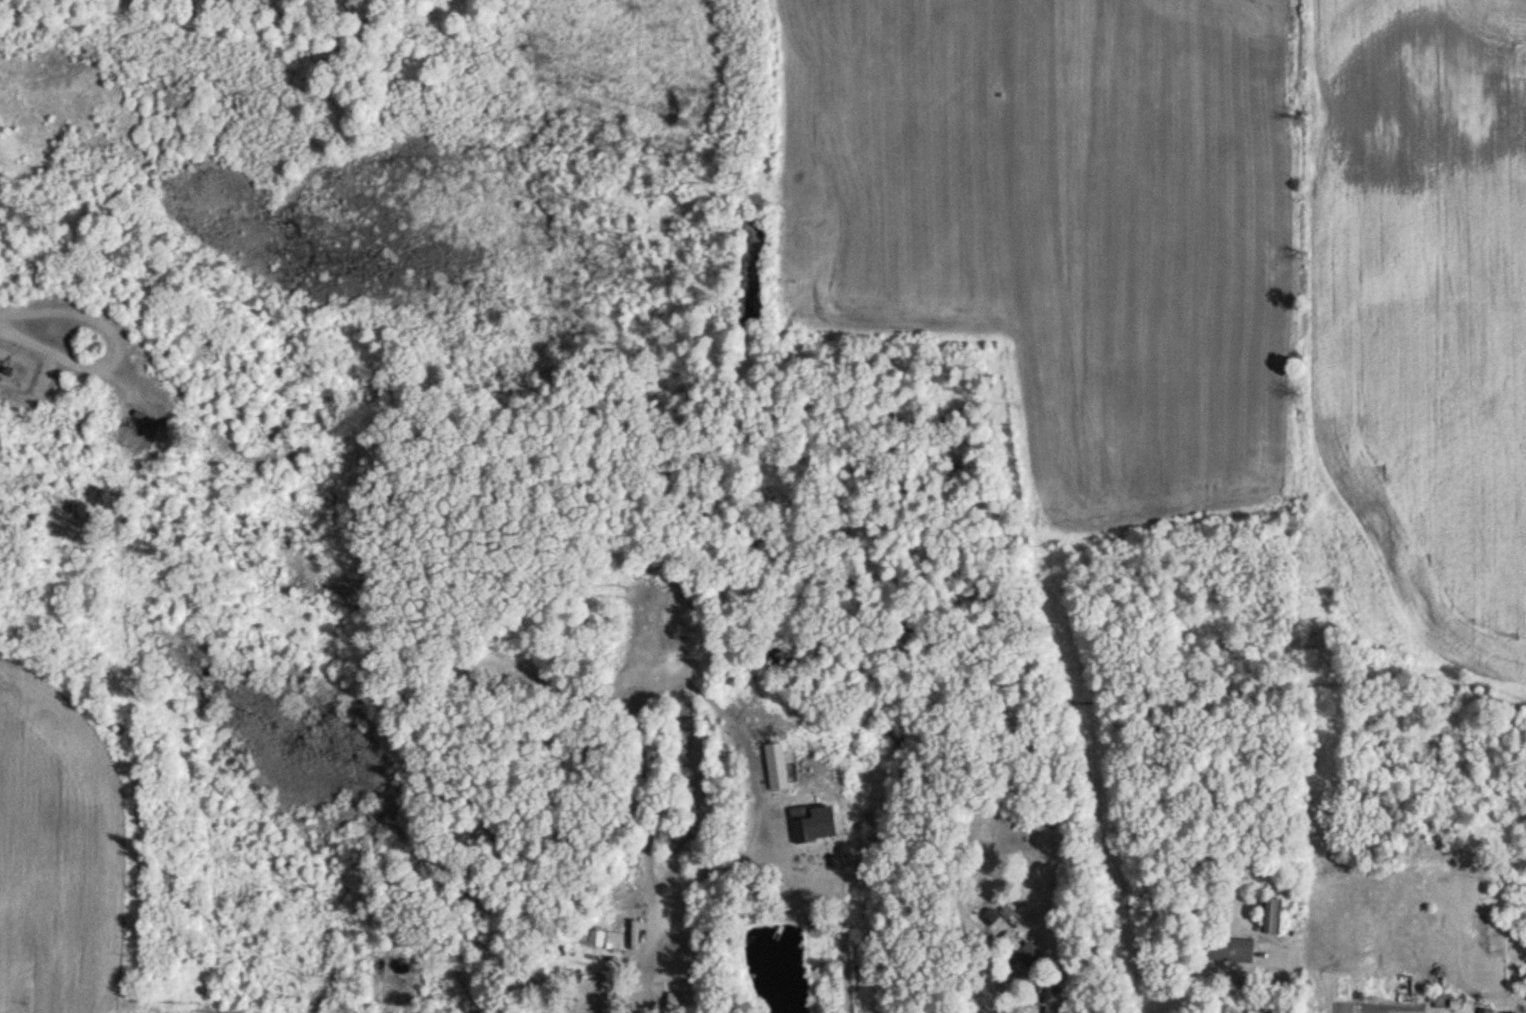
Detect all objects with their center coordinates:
road: (30, 328)
petroleum well: (147, 417)
building: (549, 692)
road: (770, 804)
building: (805, 830)
building: (1272, 915)
building: (593, 938)
building: (1229, 949)
building: (1023, 950)
road: (1289, 975)
building: (674, 1000)
building: (554, 1007)
building: (1486, 1011)

